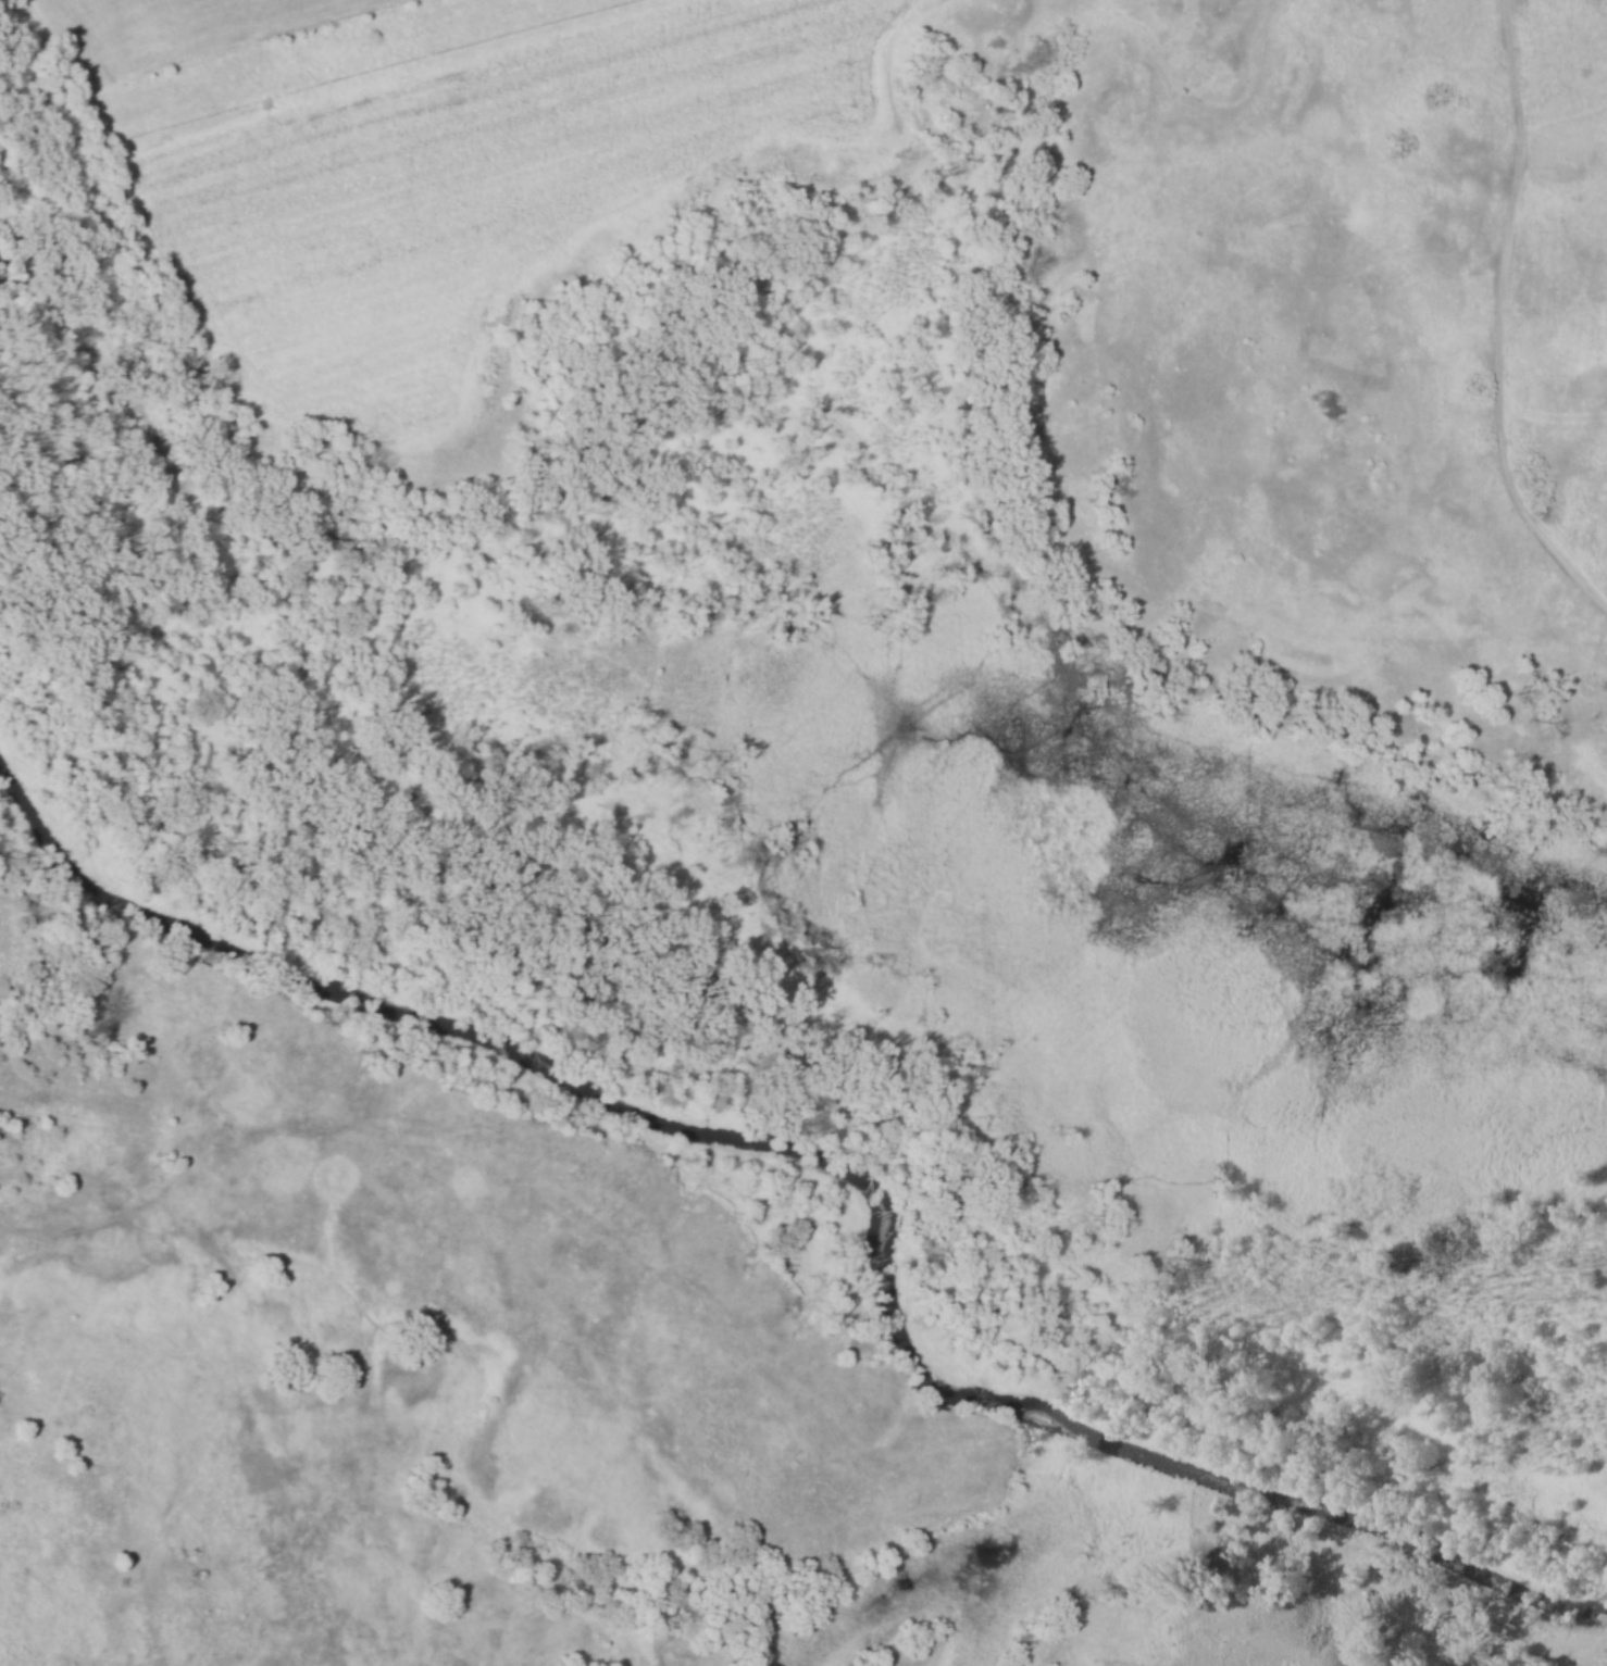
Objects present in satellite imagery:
crop: (182, 32)
crop: (468, 192)
road: (1504, 323)
park: (804, 832)

